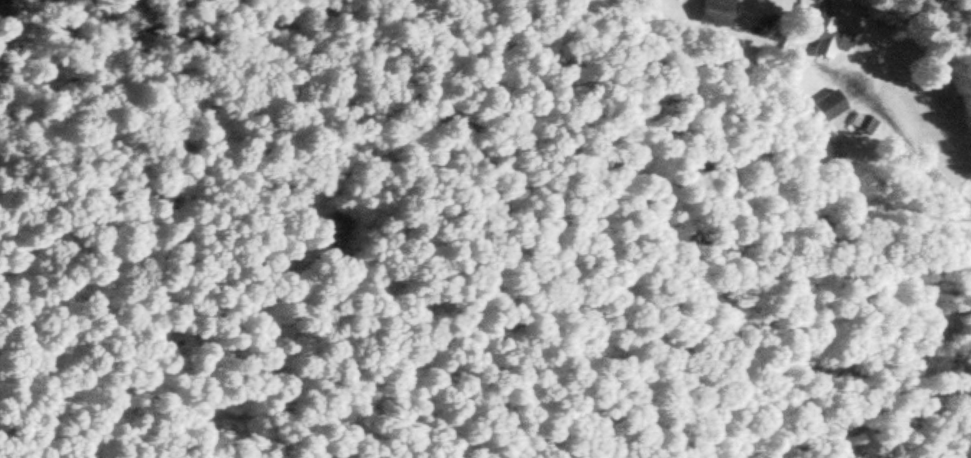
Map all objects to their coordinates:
building: (711, 12)
building: (823, 35)
building: (825, 105)
building: (860, 124)
road: (901, 142)
building: (834, 146)

